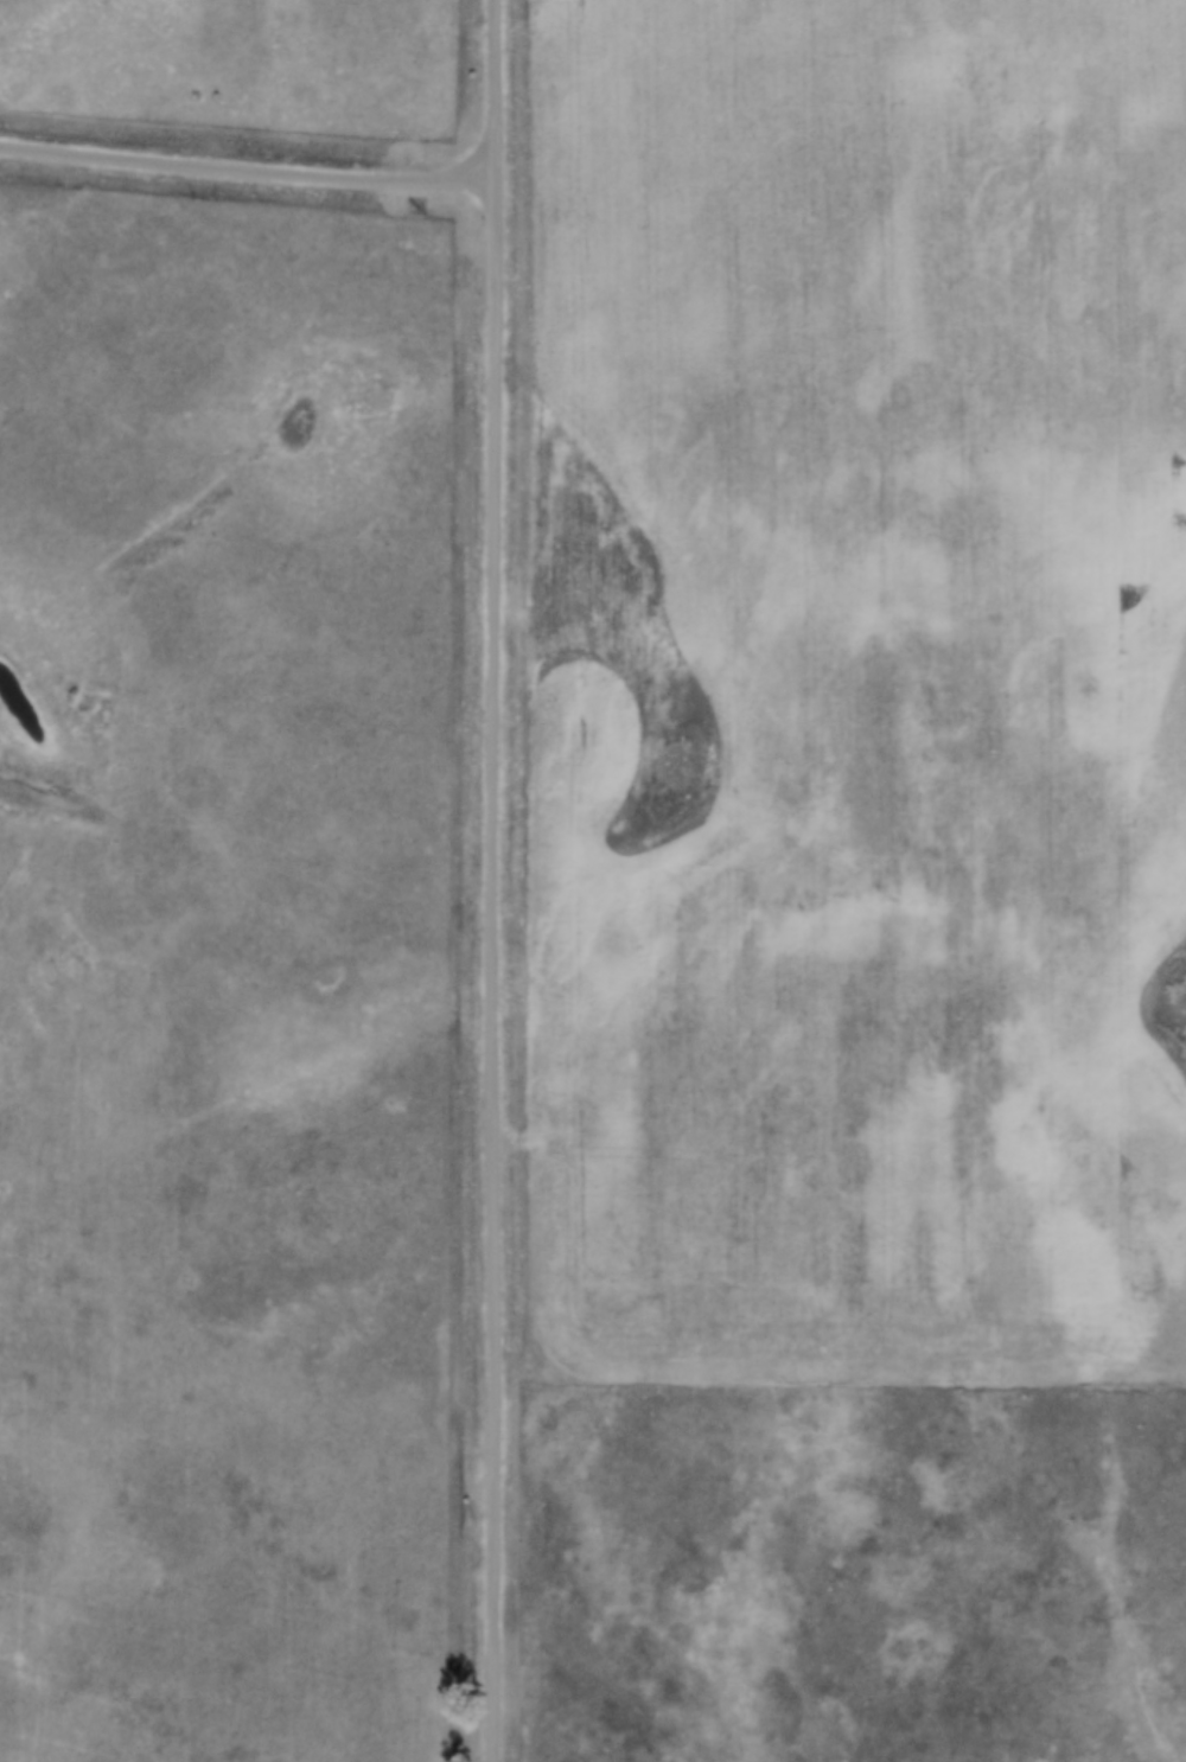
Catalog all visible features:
road: (246, 174)
road: (493, 880)

